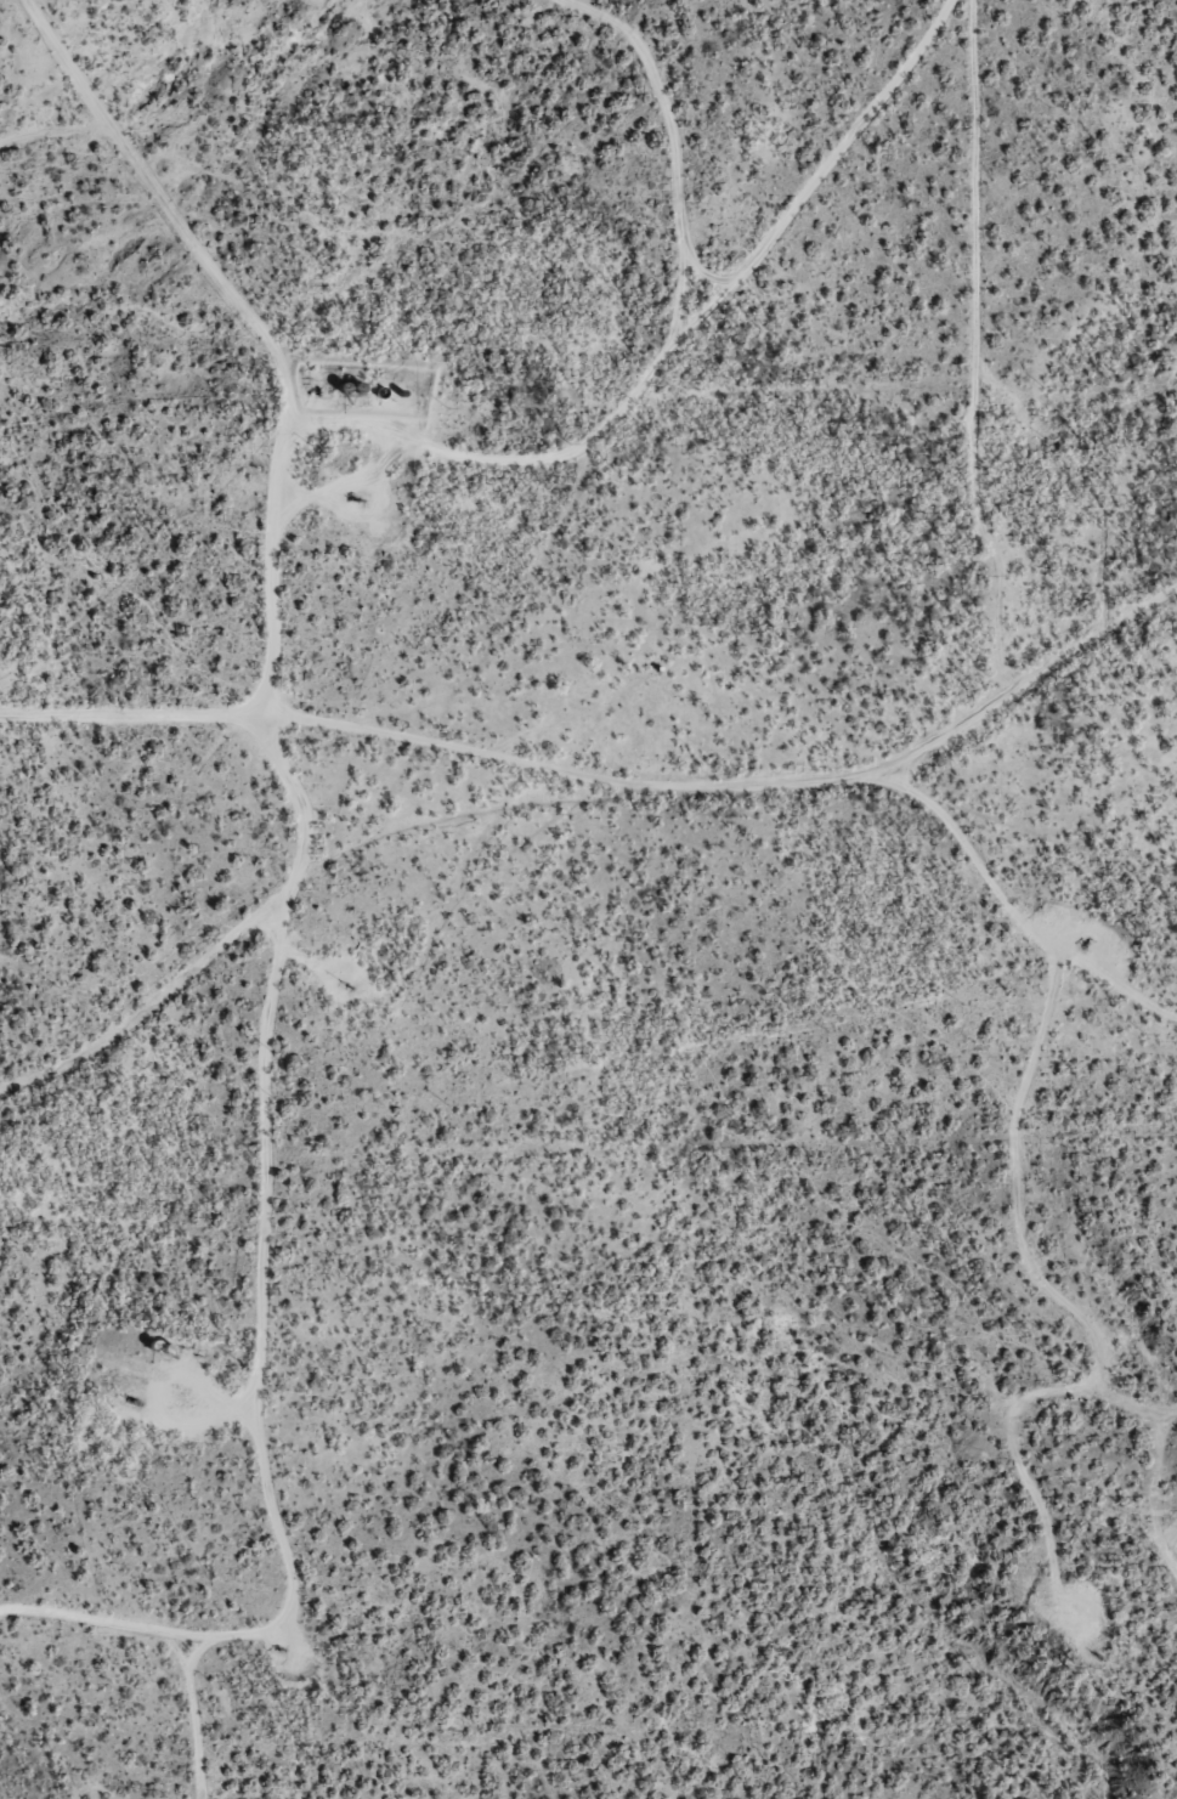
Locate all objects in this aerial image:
road: (955, 26)
road: (681, 345)
road: (1126, 657)
road: (155, 736)
road: (647, 821)
road: (273, 940)
road: (265, 1320)

